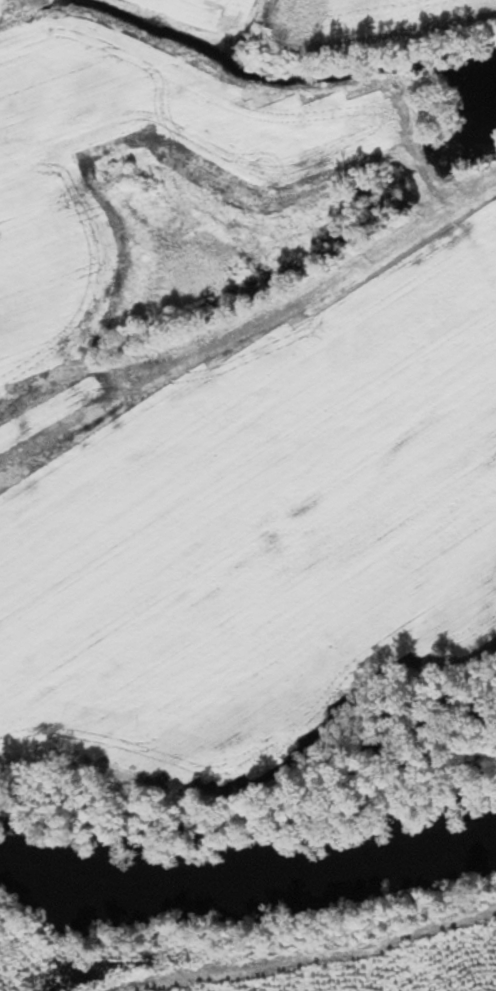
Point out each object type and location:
river: (250, 873)

